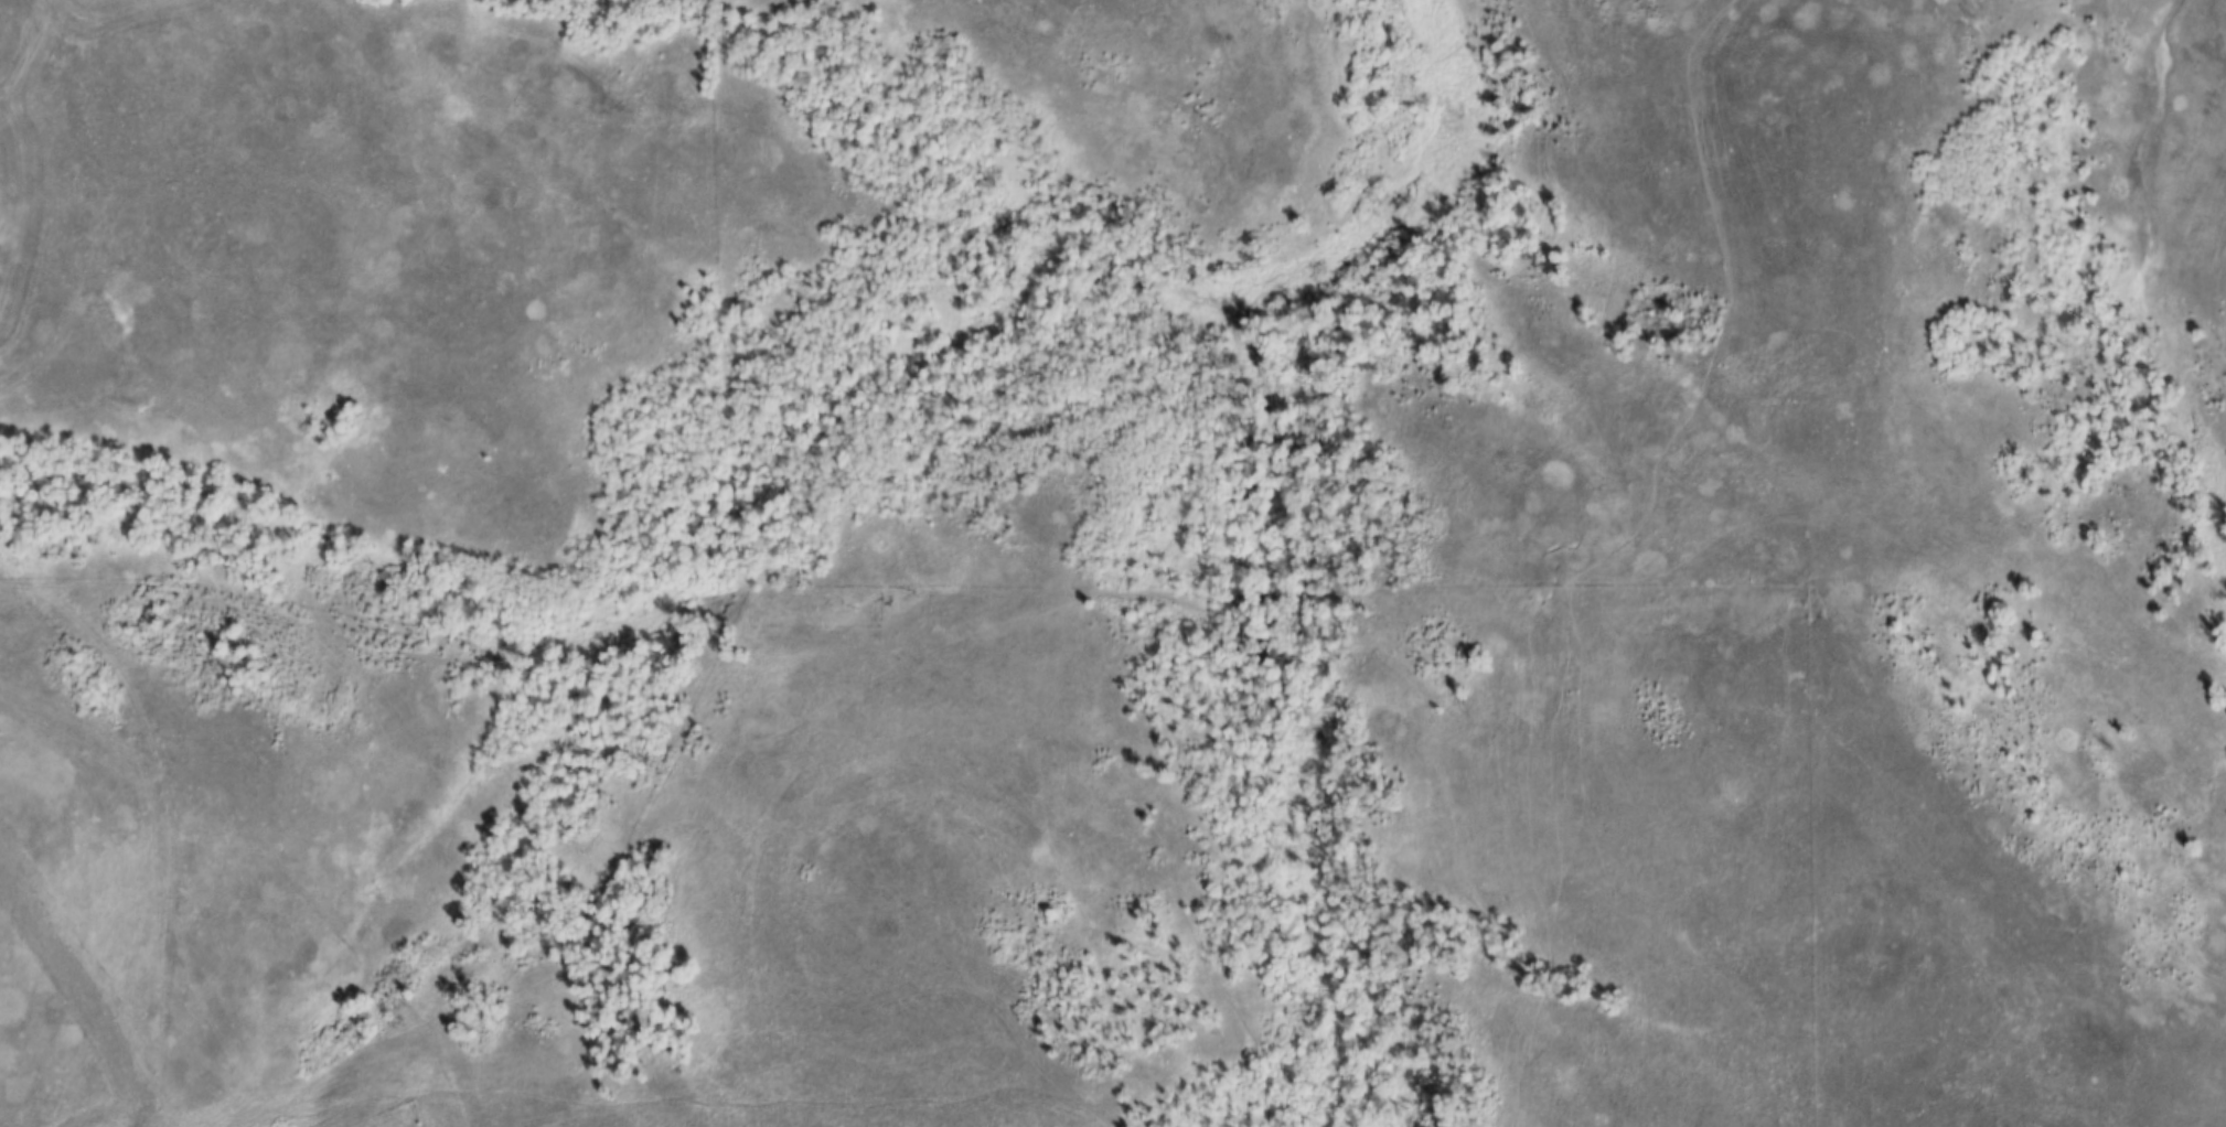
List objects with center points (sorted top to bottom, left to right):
road: (99, 205)

